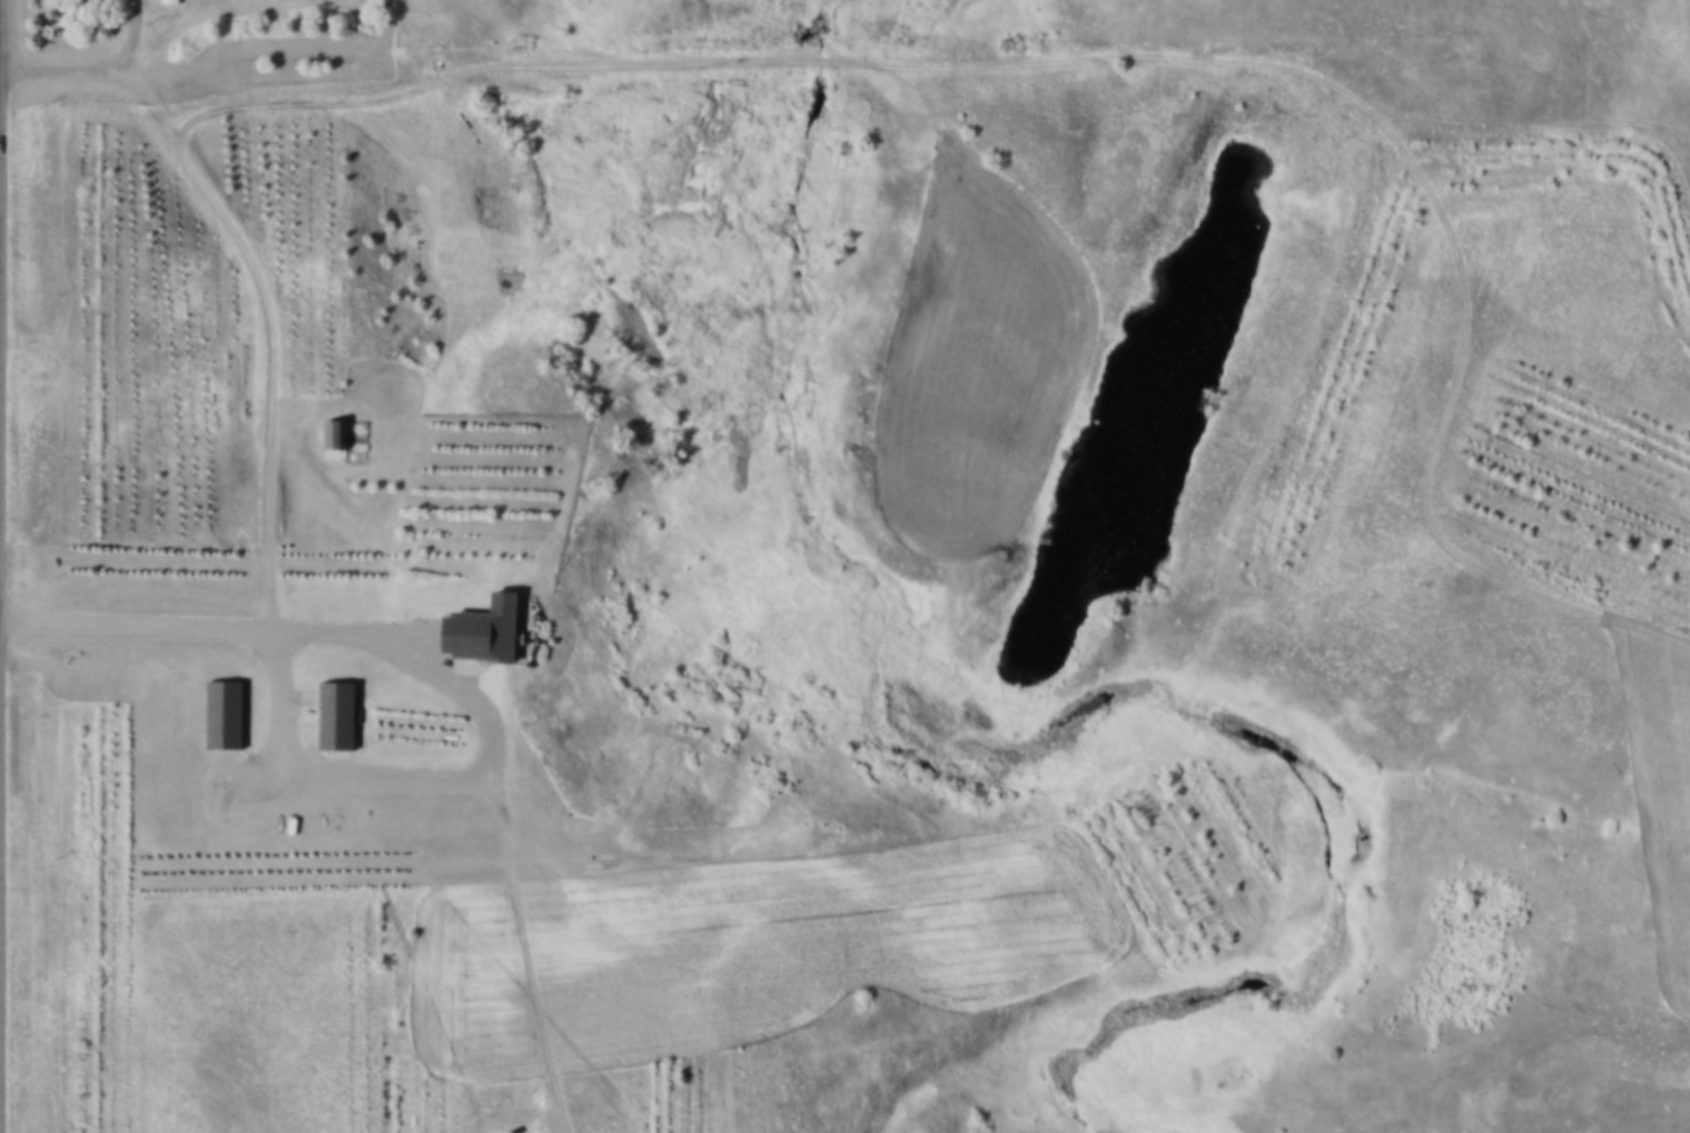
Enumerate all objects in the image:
road: (773, 64)
road: (92, 68)
road: (147, 93)
road: (929, 108)
road: (1539, 120)
road: (1414, 169)
road: (445, 331)
road: (273, 366)
building: (339, 429)
road: (356, 513)
road: (138, 623)
building: (494, 628)
building: (229, 710)
building: (342, 710)
road: (470, 769)
road: (525, 943)

